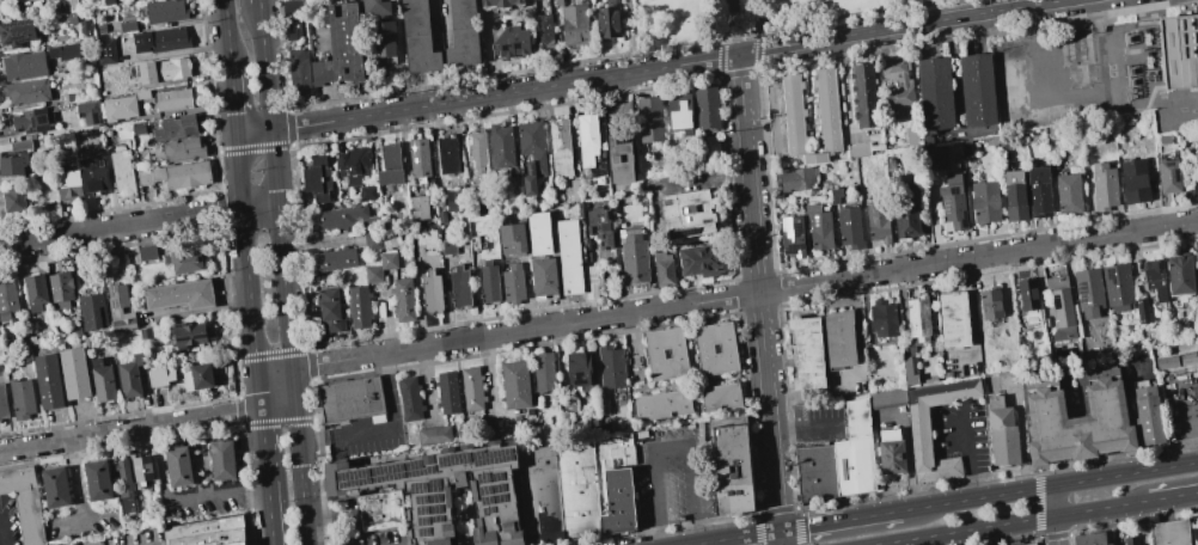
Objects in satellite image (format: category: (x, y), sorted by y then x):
building: (108, 1)
building: (499, 2)
building: (72, 4)
building: (62, 6)
building: (292, 7)
building: (374, 7)
park: (809, 8)
building: (164, 11)
road: (937, 11)
road: (736, 13)
building: (71, 17)
road: (839, 17)
park: (760, 19)
building: (606, 22)
rooftop solar panel: (17, 24)
building: (575, 25)
building: (127, 26)
road: (901, 26)
building: (292, 27)
building: (542, 27)
building: (85, 29)
building: (17, 32)
road: (226, 32)
building: (463, 33)
rooftop solar panel: (17, 37)
building: (418, 37)
building: (160, 39)
building: (384, 41)
road: (738, 41)
building: (509, 42)
building: (340, 48)
building: (63, 51)
building: (105, 51)
building: (1179, 53)
building: (23, 65)
building: (164, 69)
power substation: (1100, 69)
building: (298, 75)
building: (133, 84)
building: (896, 85)
building: (977, 88)
building: (26, 91)
road: (505, 92)
building: (935, 93)
building: (863, 94)
building: (173, 99)
road: (232, 100)
building: (705, 106)
building: (118, 109)
building: (679, 111)
building: (87, 114)
building: (801, 115)
building: (648, 118)
building: (32, 121)
building: (176, 127)
building: (137, 128)
road: (255, 133)
building: (1182, 135)
rooftop solar panel: (623, 137)
building: (586, 139)
building: (532, 142)
building: (20, 145)
road: (273, 146)
building: (711, 146)
building: (501, 147)
building: (560, 147)
building: (182, 148)
building: (858, 149)
building: (477, 151)
building: (448, 154)
building: (1196, 157)
building: (418, 158)
building: (619, 159)
building: (1167, 163)
building: (354, 165)
building: (390, 165)
rooftop solar panel: (1168, 165)
building: (11, 166)
building: (122, 172)
building: (176, 173)
building: (91, 174)
rooftop solar panel: (1175, 177)
building: (528, 178)
building: (795, 178)
building: (1197, 178)
building: (316, 179)
building: (1136, 180)
building: (1187, 180)
building: (67, 185)
building: (515, 185)
building: (1196, 185)
building: (1102, 186)
building: (574, 190)
building: (367, 191)
building: (1038, 191)
building: (473, 194)
building: (1014, 194)
building: (1068, 194)
building: (835, 195)
building: (13, 198)
building: (453, 201)
building: (984, 202)
road: (261, 206)
building: (418, 208)
building: (581, 208)
rooftop solar panel: (946, 208)
building: (949, 212)
building: (687, 213)
building: (906, 215)
building: (335, 218)
building: (878, 221)
rooftop solar panel: (964, 223)
building: (599, 226)
building: (818, 226)
road: (122, 227)
rooftop solar panel: (786, 227)
rooftop solar panel: (796, 227)
building: (849, 227)
building: (538, 232)
rooftop solar panel: (685, 232)
building: (372, 233)
building: (791, 235)
building: (512, 238)
building: (476, 244)
building: (448, 246)
rooftop solar panel: (793, 249)
building: (146, 253)
building: (632, 255)
building: (569, 257)
building: (184, 259)
building: (335, 259)
building: (701, 261)
building: (380, 267)
building: (662, 269)
road: (285, 271)
building: (1180, 272)
rooftop solar panel: (1110, 274)
building: (544, 276)
building: (1155, 277)
building: (488, 283)
building: (513, 283)
rooftop solar panel: (1080, 284)
road: (250, 286)
building: (460, 287)
building: (1118, 287)
building: (60, 288)
building: (591, 290)
building: (35, 292)
rooftop solar panel: (111, 292)
building: (1088, 292)
building: (430, 293)
building: (1197, 293)
building: (179, 294)
rooftop solar panel: (1081, 295)
building: (7, 298)
building: (402, 299)
road: (758, 300)
building: (990, 301)
rooftop solar panel: (114, 304)
building: (1029, 304)
building: (359, 306)
building: (118, 308)
building: (1061, 308)
building: (330, 310)
building: (92, 311)
building: (1142, 311)
building: (918, 317)
building: (884, 318)
road: (591, 319)
building: (954, 319)
building: (870, 325)
building: (1192, 332)
building: (145, 333)
building: (188, 333)
rooftop solar panel: (200, 333)
rooftop solar panel: (182, 337)
building: (839, 337)
building: (1022, 341)
building: (1197, 341)
building: (715, 348)
building: (806, 351)
building: (665, 353)
building: (1187, 359)
building: (1166, 362)
building: (909, 365)
building: (610, 367)
building: (579, 371)
building: (543, 372)
building: (74, 374)
building: (948, 375)
building: (129, 376)
building: (160, 376)
building: (196, 376)
rooftop solar panel: (581, 376)
building: (102, 380)
building: (48, 381)
parking lot: (1009, 382)
building: (515, 385)
building: (471, 388)
building: (447, 392)
building: (1197, 392)
building: (720, 396)
building: (352, 398)
building: (409, 398)
road: (789, 398)
building: (22, 399)
building: (886, 399)
building: (2, 403)
building: (568, 403)
building: (660, 404)
building: (604, 406)
building: (1148, 415)
building: (1078, 417)
building: (0, 421)
parking lot: (819, 424)
road: (805, 427)
road: (381, 428)
building: (921, 431)
building: (1002, 431)
building: (433, 434)
parking lot: (962, 435)
road: (1023, 441)
road: (672, 443)
building: (855, 452)
building: (892, 452)
rooftop solar panel: (496, 454)
rooftop solar panel: (460, 457)
road: (970, 459)
building: (222, 460)
road: (909, 463)
building: (732, 465)
rooftop solar panel: (420, 466)
building: (179, 467)
rooftop solar panel: (390, 470)
building: (143, 471)
rooftop solar panel: (485, 473)
rooftop solar panel: (500, 473)
building: (815, 473)
rooftop solar panel: (356, 474)
parking lot: (673, 476)
road: (78, 480)
building: (98, 480)
building: (616, 482)
rooftop solar panel: (438, 484)
rooftop solar panel: (418, 485)
rooftop solar panel: (502, 485)
building: (124, 486)
road: (1049, 486)
building: (56, 488)
road: (273, 489)
building: (579, 490)
building: (447, 491)
rooftop solar panel: (487, 491)
rooftop solar panel: (436, 492)
rooftop solar panel: (502, 495)
building: (542, 495)
rooftop solar panel: (423, 496)
road: (1173, 496)
rooftop solar panel: (491, 497)
road: (1053, 501)
building: (24, 502)
parking lot: (202, 503)
road: (178, 504)
rooftop solar panel: (438, 507)
rooftop solar panel: (424, 508)
rooftop solar panel: (491, 508)
building: (379, 509)
rooftop solar panel: (426, 515)
rooftop solar panel: (440, 515)
road: (872, 516)
parking lot: (8, 520)
road: (81, 521)
road: (1011, 522)
parking lot: (84, 523)
road: (809, 525)
rooftop solar panel: (427, 528)
road: (1056, 529)
road: (1, 531)
traffic signals: (780, 531)
building: (207, 532)
building: (1171, 532)
parking lot: (373, 537)
parking lot: (128, 538)
road: (735, 538)
building: (1092, 539)
building: (1130, 540)
building: (1029, 544)
building: (1141, 544)

